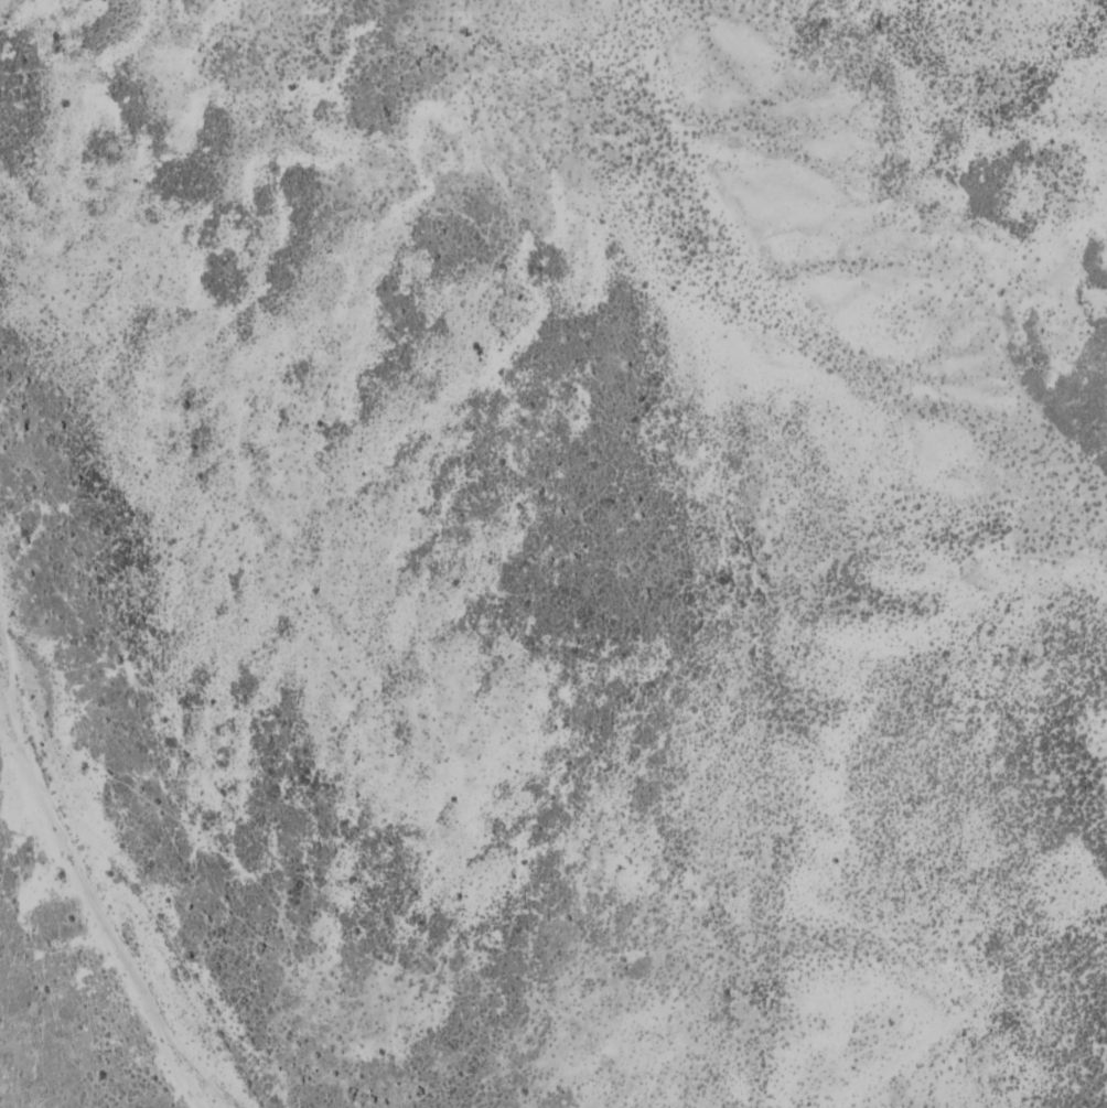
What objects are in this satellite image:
road: (67, 796)

